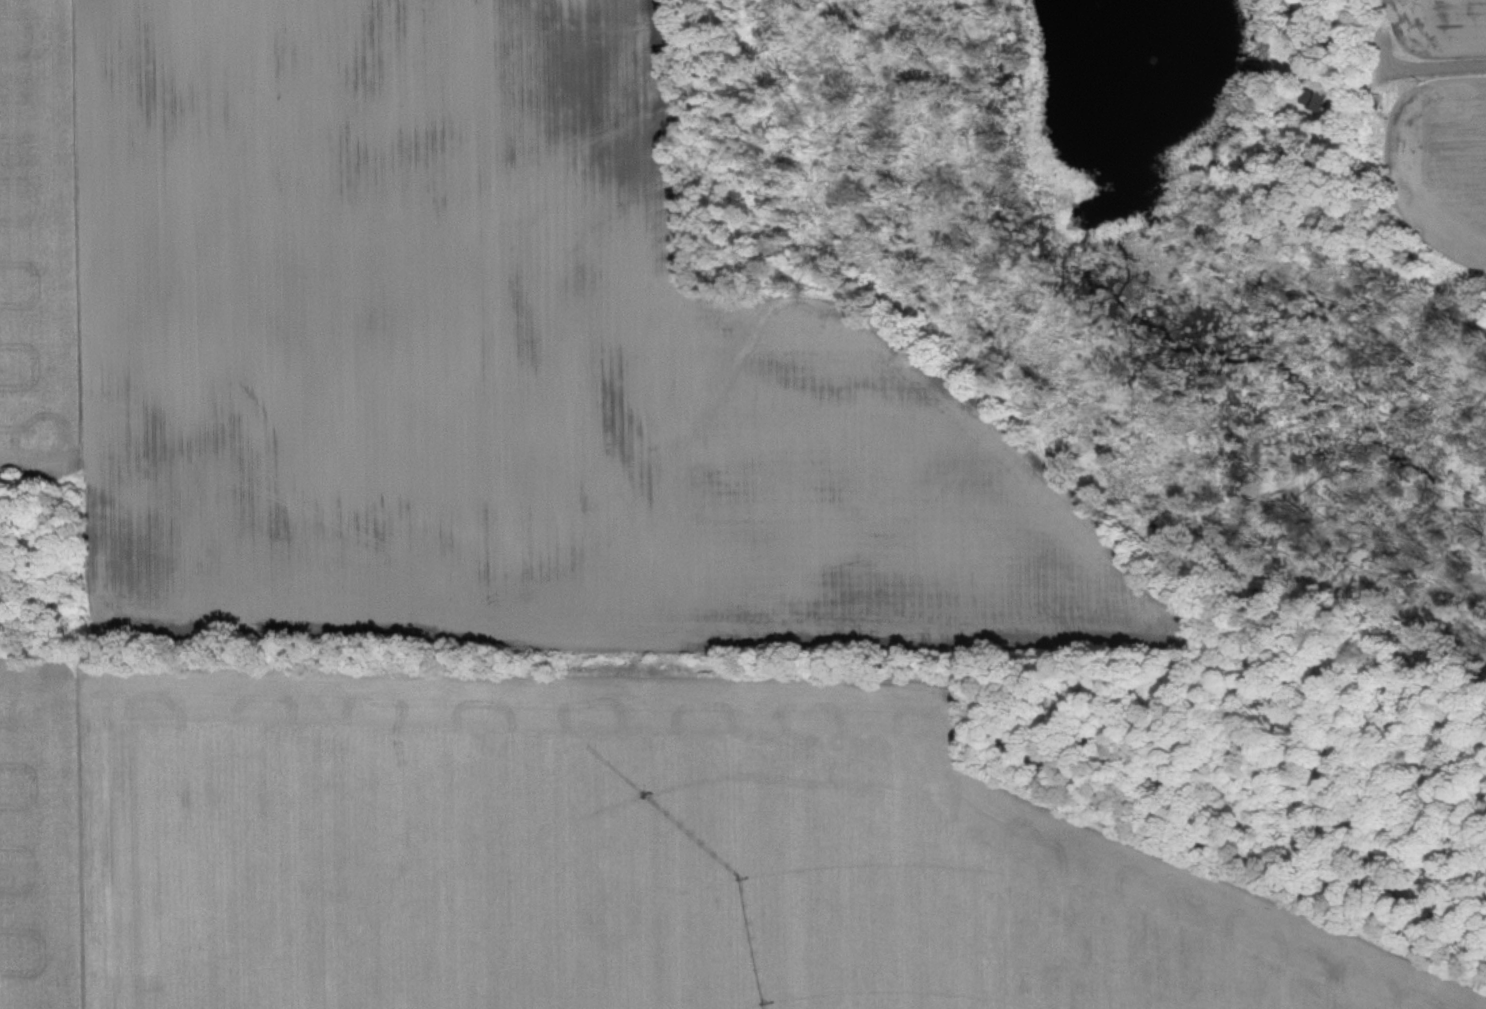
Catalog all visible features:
road: (1443, 68)
building: (1312, 97)
crop: (473, 355)
crop: (591, 857)

